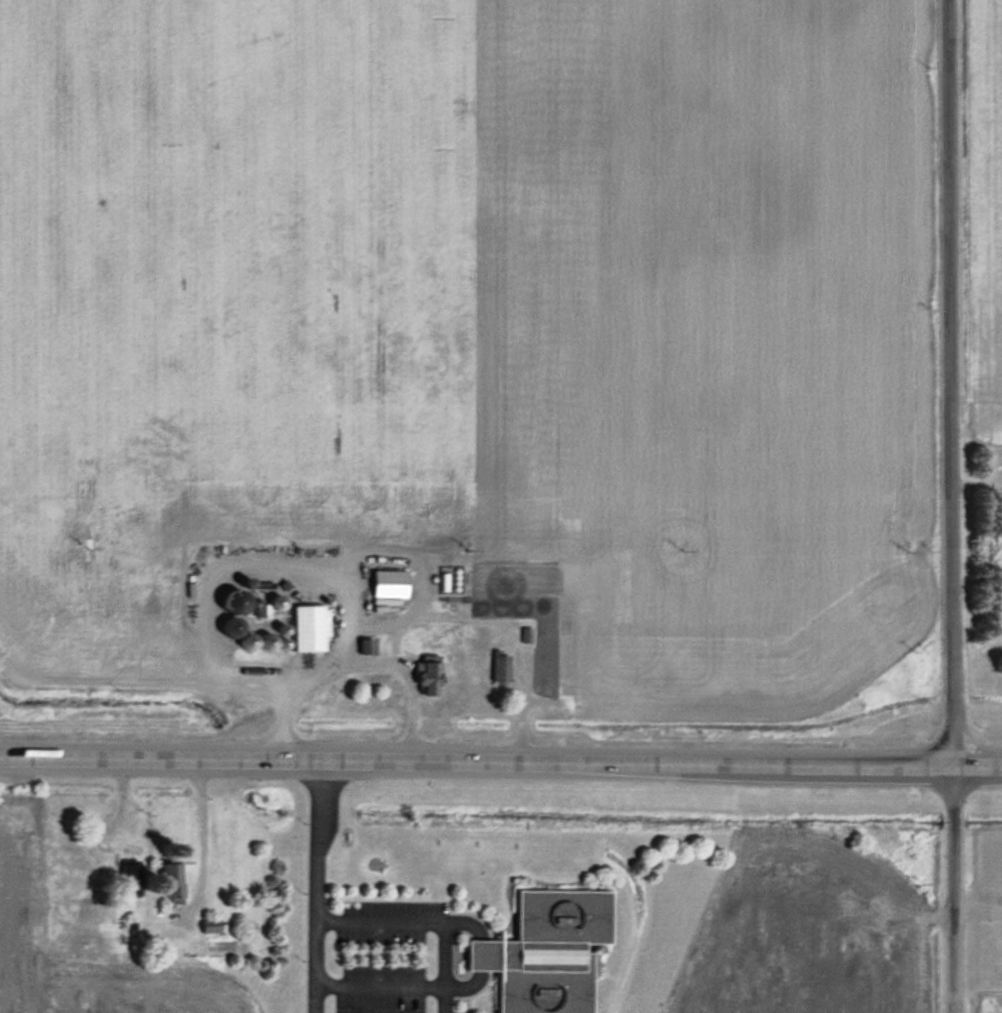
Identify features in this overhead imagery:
crop: (983, 218)
crop: (476, 326)
road: (951, 506)
silo: (248, 582)
building: (389, 583)
silo: (279, 601)
silo: (232, 626)
building: (311, 626)
silo: (284, 628)
building: (526, 633)
silo: (248, 640)
silo: (268, 641)
silo: (284, 642)
building: (366, 644)
building: (408, 645)
building: (542, 666)
building: (501, 668)
building: (430, 674)
road: (500, 763)
road: (202, 840)
crop: (21, 856)
building: (173, 881)
building: (133, 883)
road: (316, 886)
road: (977, 912)
road: (426, 921)
building: (213, 925)
crop: (805, 932)
building: (547, 951)
parking lot: (385, 958)
road: (379, 987)
crop: (1001, 1011)

